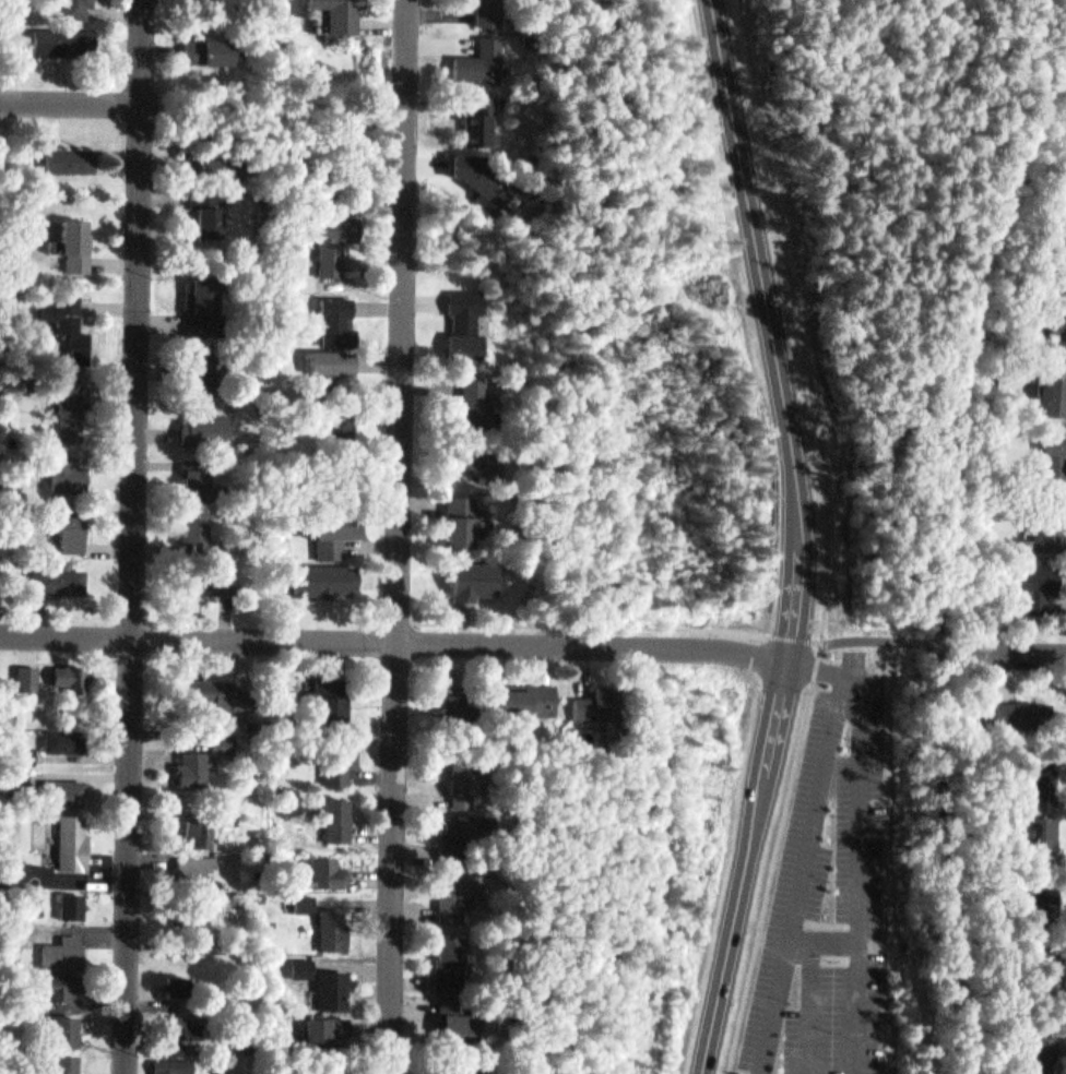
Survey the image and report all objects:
building: (73, 5)
building: (483, 8)
building: (339, 12)
building: (64, 35)
building: (206, 45)
building: (474, 58)
road: (73, 102)
building: (476, 115)
road: (981, 126)
building: (58, 151)
building: (486, 178)
building: (1061, 195)
road: (869, 198)
building: (204, 206)
road: (757, 226)
building: (76, 237)
building: (332, 238)
road: (819, 253)
building: (1065, 273)
road: (903, 282)
building: (201, 300)
building: (334, 311)
building: (467, 321)
building: (1052, 321)
building: (66, 322)
road: (805, 327)
road: (812, 327)
road: (936, 334)
building: (330, 357)
building: (197, 367)
building: (213, 370)
building: (1046, 389)
building: (467, 396)
building: (74, 405)
building: (333, 419)
building: (204, 421)
building: (473, 452)
building: (1050, 453)
building: (68, 469)
building: (197, 478)
building: (461, 517)
building: (73, 522)
building: (193, 522)
building: (1039, 524)
building: (330, 532)
road: (137, 536)
road: (404, 537)
road: (941, 553)
road: (801, 558)
building: (466, 574)
building: (197, 575)
building: (56, 576)
building: (1038, 582)
road: (479, 620)
road: (644, 622)
road: (759, 631)
road: (797, 637)
road: (880, 639)
road: (643, 642)
road: (270, 643)
road: (1022, 653)
road: (958, 654)
road: (768, 655)
road: (817, 669)
building: (29, 670)
road: (818, 670)
building: (74, 671)
road: (850, 679)
building: (208, 685)
building: (327, 692)
building: (455, 694)
building: (521, 695)
building: (593, 697)
street lamp: (899, 707)
building: (1015, 708)
building: (67, 732)
street lamp: (851, 733)
building: (224, 736)
road: (774, 739)
building: (24, 747)
building: (340, 752)
building: (196, 765)
building: (23, 769)
building: (1042, 775)
building: (464, 776)
building: (20, 781)
building: (62, 785)
street lamp: (834, 808)
building: (333, 812)
building: (200, 822)
building: (1038, 830)
building: (458, 834)
building: (72, 836)
road: (889, 856)
building: (197, 861)
building: (15, 866)
building: (325, 867)
road: (772, 878)
street lamp: (892, 879)
building: (459, 891)
building: (1043, 893)
building: (34, 895)
building: (306, 895)
parking lot: (833, 895)
building: (72, 898)
building: (308, 903)
building: (334, 923)
building: (9, 935)
road: (827, 941)
road: (732, 944)
building: (62, 946)
building: (448, 956)
building: (303, 960)
building: (1040, 965)
building: (176, 978)
building: (61, 980)
building: (333, 985)
street lamp: (793, 999)
road: (813, 1007)
building: (453, 1018)
building: (192, 1022)
building: (61, 1024)
building: (325, 1030)
building: (1034, 1052)
building: (58, 1061)
building: (166, 1063)
building: (454, 1066)
building: (330, 1070)

